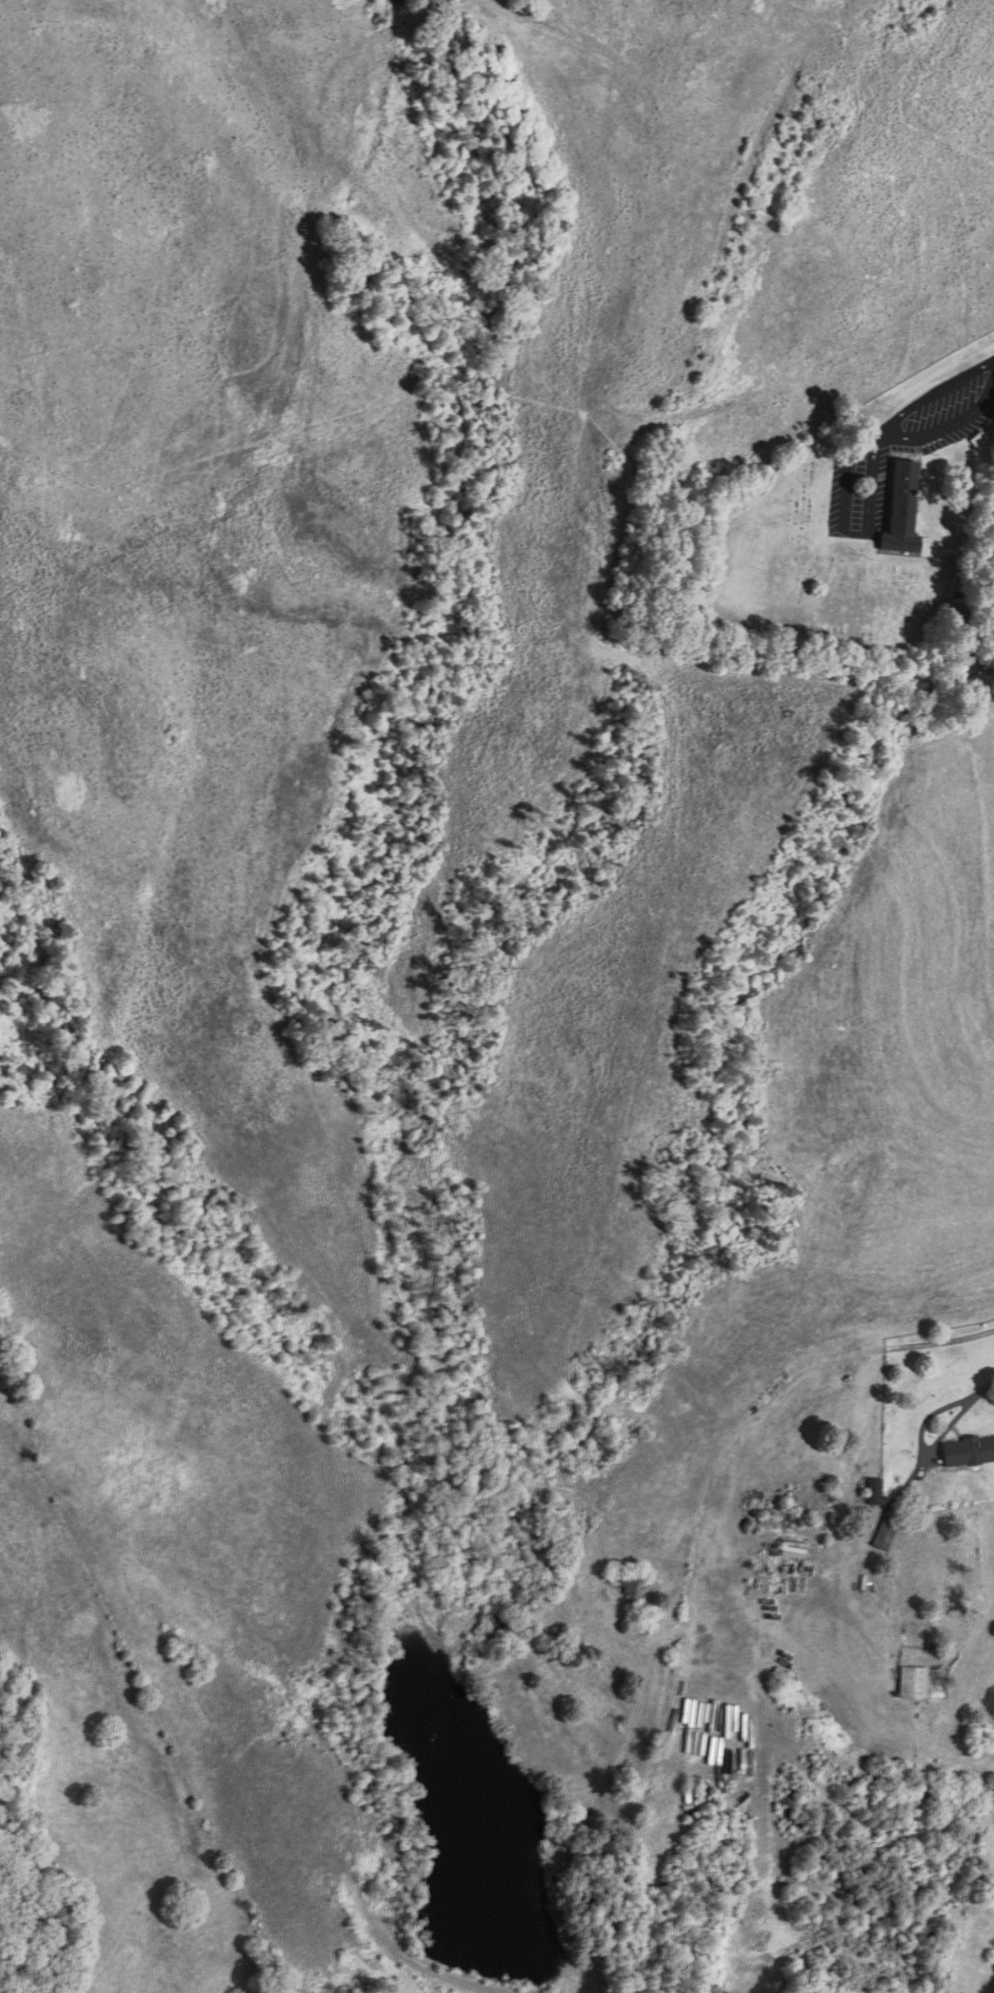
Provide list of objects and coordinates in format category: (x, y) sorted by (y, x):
road: (940, 392)
building: (978, 442)
building: (899, 509)
road: (986, 1386)
road: (921, 1444)
building: (967, 1452)
building: (874, 1491)
building: (885, 1534)
building: (628, 1583)
building: (911, 1683)

